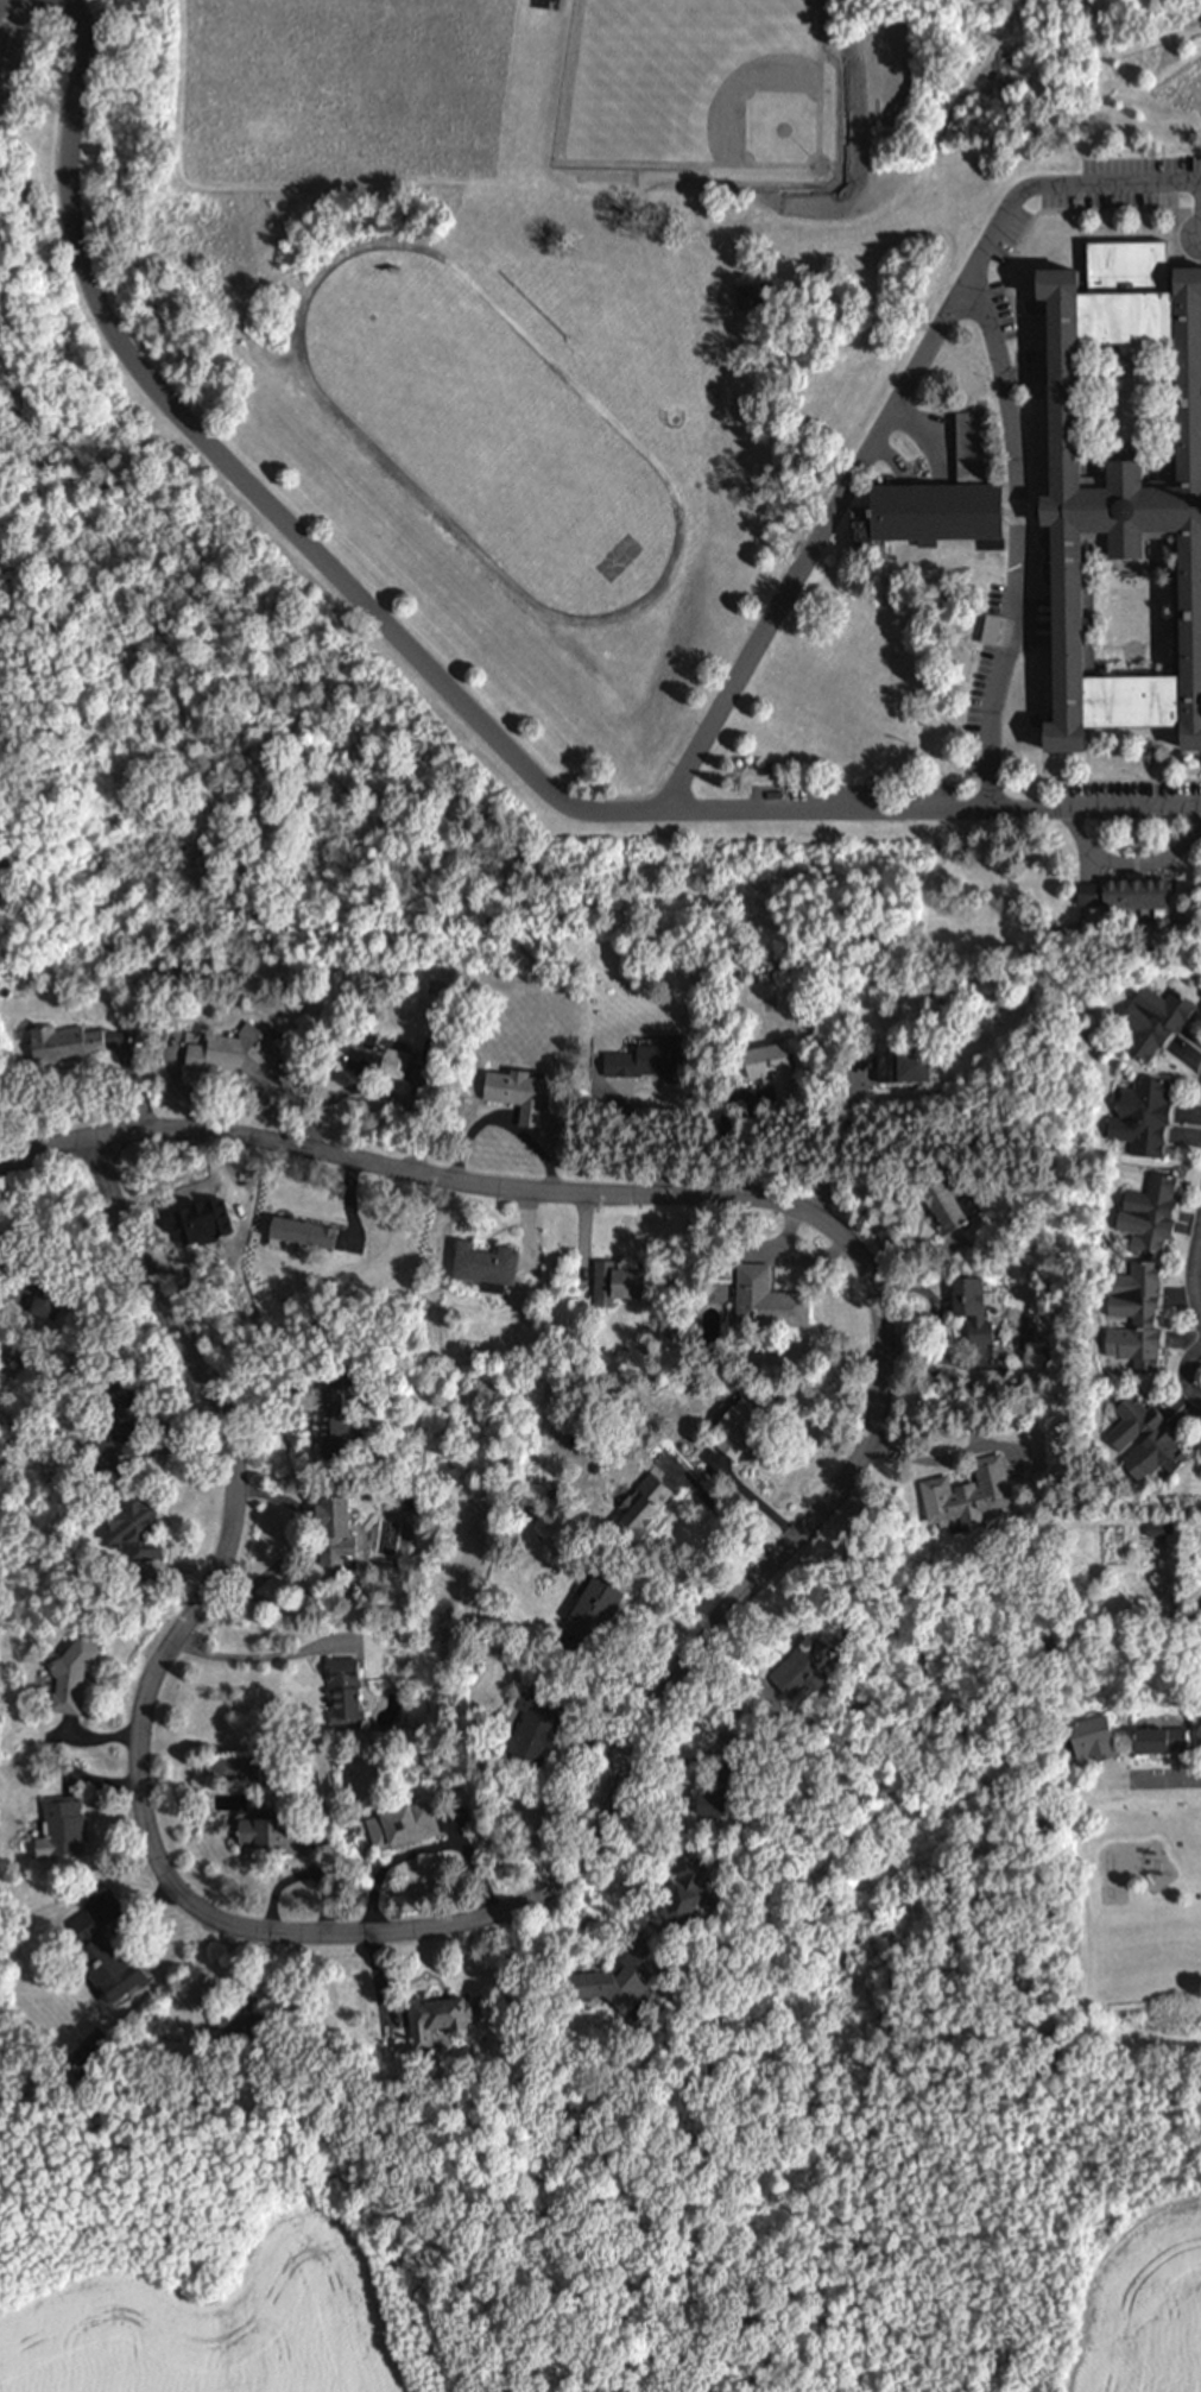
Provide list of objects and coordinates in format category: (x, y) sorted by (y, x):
park: (702, 96)
parking lot: (1001, 239)
building: (758, 292)
road: (928, 431)
park: (485, 433)
track: (487, 434)
building: (1123, 485)
building: (941, 501)
road: (1017, 539)
parking lot: (993, 682)
road: (562, 799)
parking lot: (854, 801)
parking lot: (1130, 801)
road: (934, 808)
road: (1132, 862)
building: (1132, 891)
building: (1088, 892)
building: (1161, 1017)
building: (63, 1041)
building: (432, 1048)
building: (238, 1052)
building: (379, 1058)
building: (658, 1060)
building: (904, 1062)
building: (773, 1066)
building: (523, 1092)
building: (1148, 1116)
road: (846, 1140)
road: (45, 1151)
building: (949, 1204)
building: (1156, 1210)
building: (302, 1229)
building: (487, 1264)
road: (1196, 1276)
building: (619, 1280)
building: (43, 1286)
building: (769, 1296)
building: (974, 1306)
building: (1131, 1319)
road: (1188, 1374)
building: (746, 1419)
building: (116, 1421)
building: (337, 1424)
building: (1114, 1441)
road: (934, 1458)
building: (971, 1490)
road: (754, 1496)
building: (645, 1504)
road: (722, 1514)
building: (138, 1523)
building: (337, 1527)
building: (1157, 1528)
building: (596, 1599)
road: (255, 1659)
building: (805, 1665)
building: (72, 1672)
building: (345, 1689)
building: (536, 1728)
building: (1092, 1741)
building: (1157, 1742)
road: (645, 1755)
road: (1169, 1778)
building: (721, 1790)
building: (404, 1823)
building: (62, 1824)
park: (934, 1828)
building: (273, 1830)
building: (689, 1888)
park: (1132, 1924)
building: (103, 1957)
building: (621, 1977)
building: (247, 2014)
building: (441, 2015)
crop: (1136, 2303)
crop: (234, 2322)

